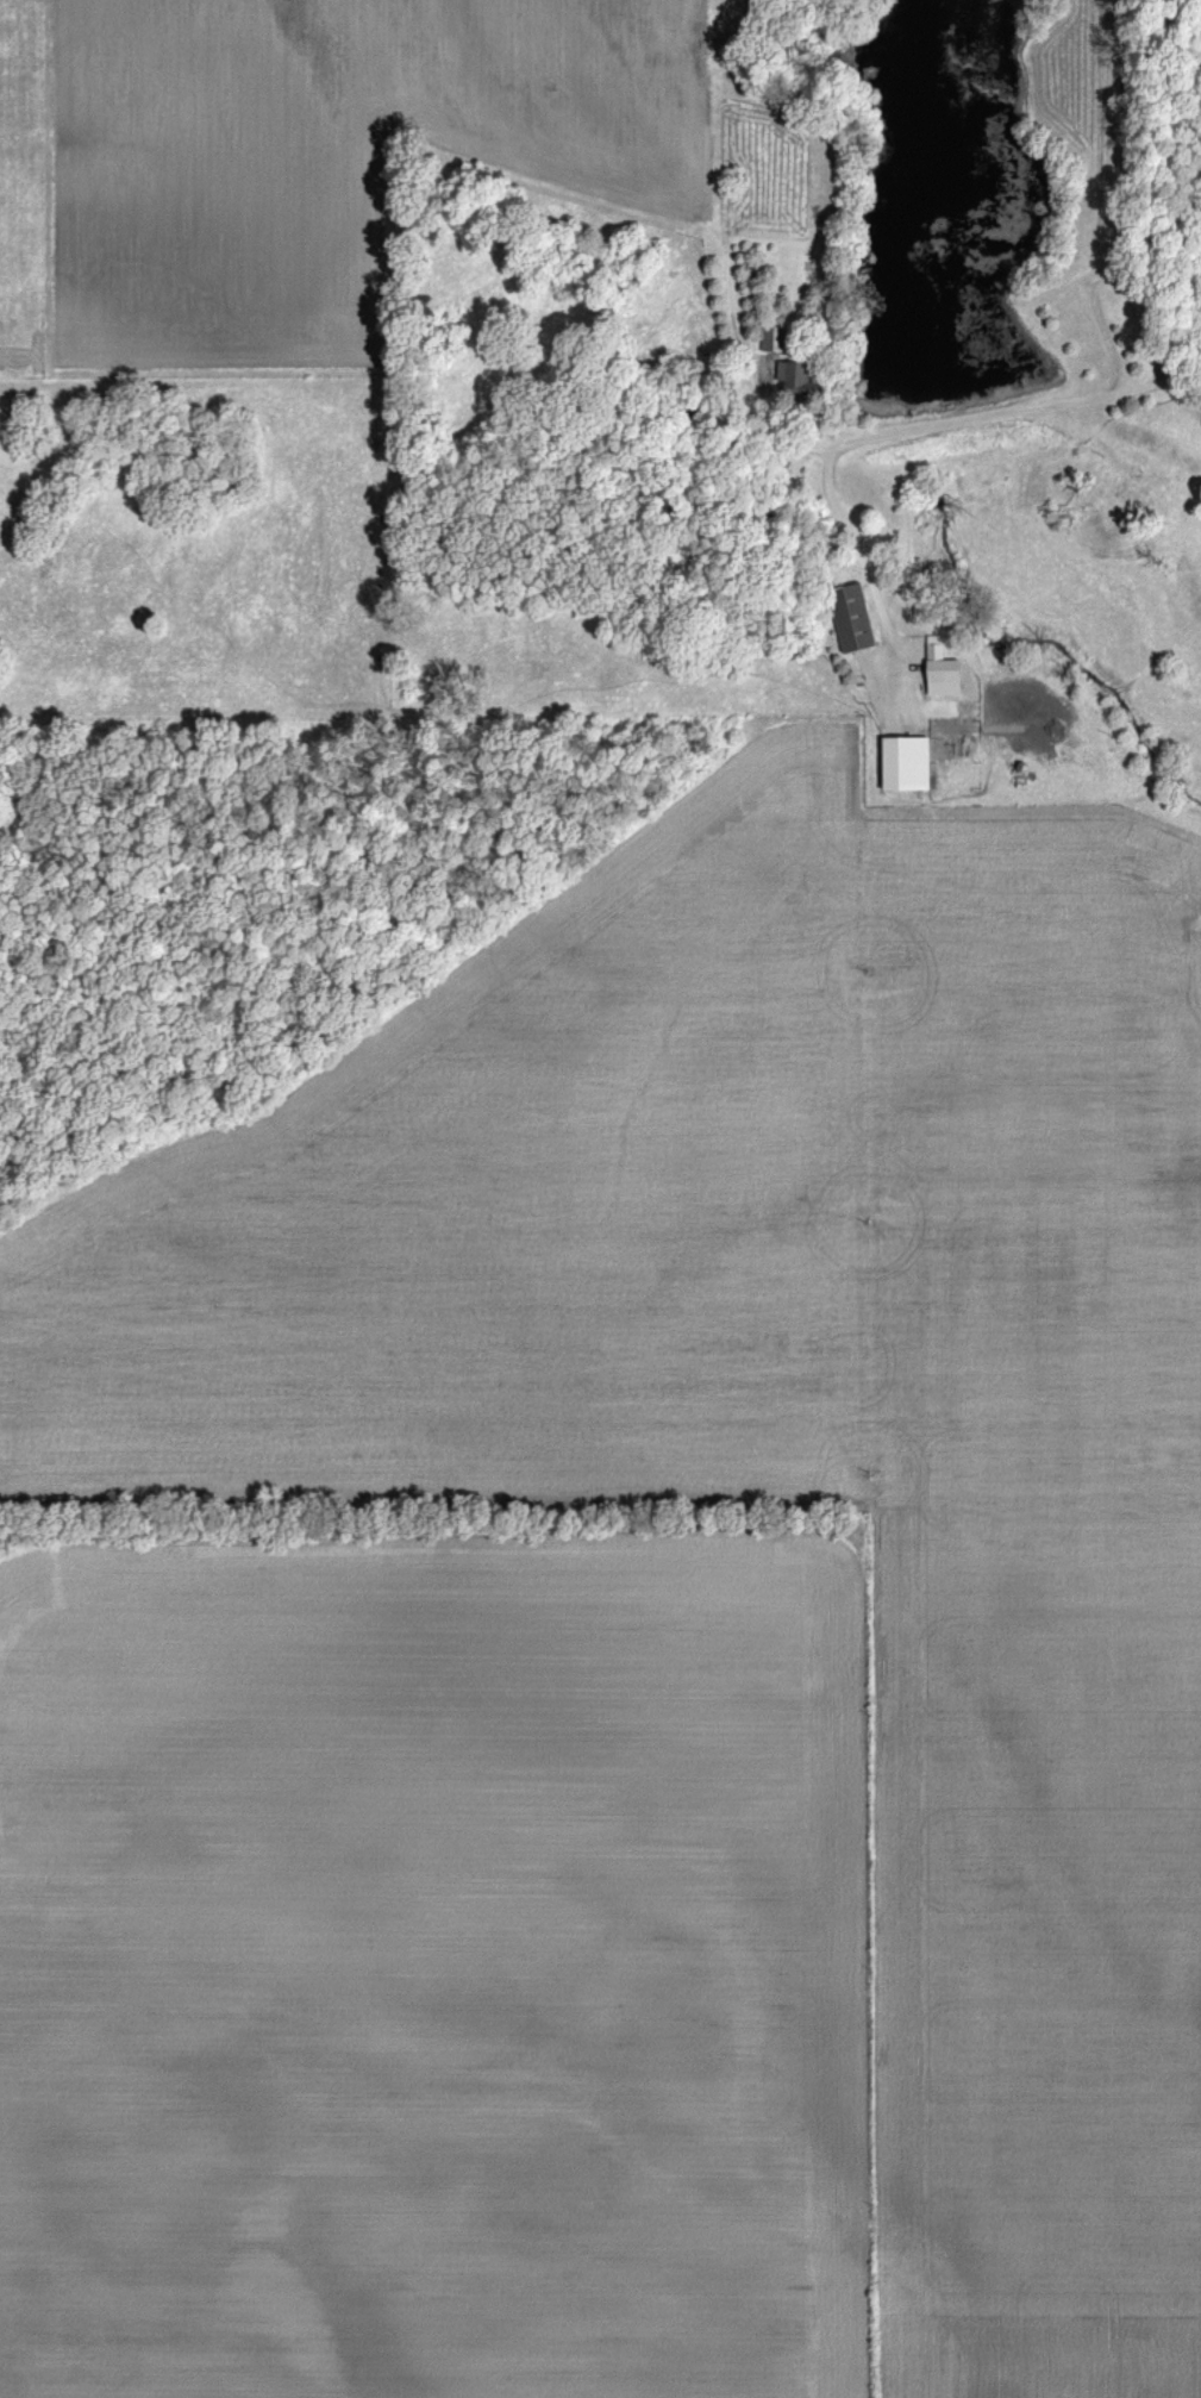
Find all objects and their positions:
road: (1118, 139)
road: (1153, 348)
building: (792, 382)
road: (871, 441)
building: (852, 620)
building: (940, 673)
building: (903, 766)

